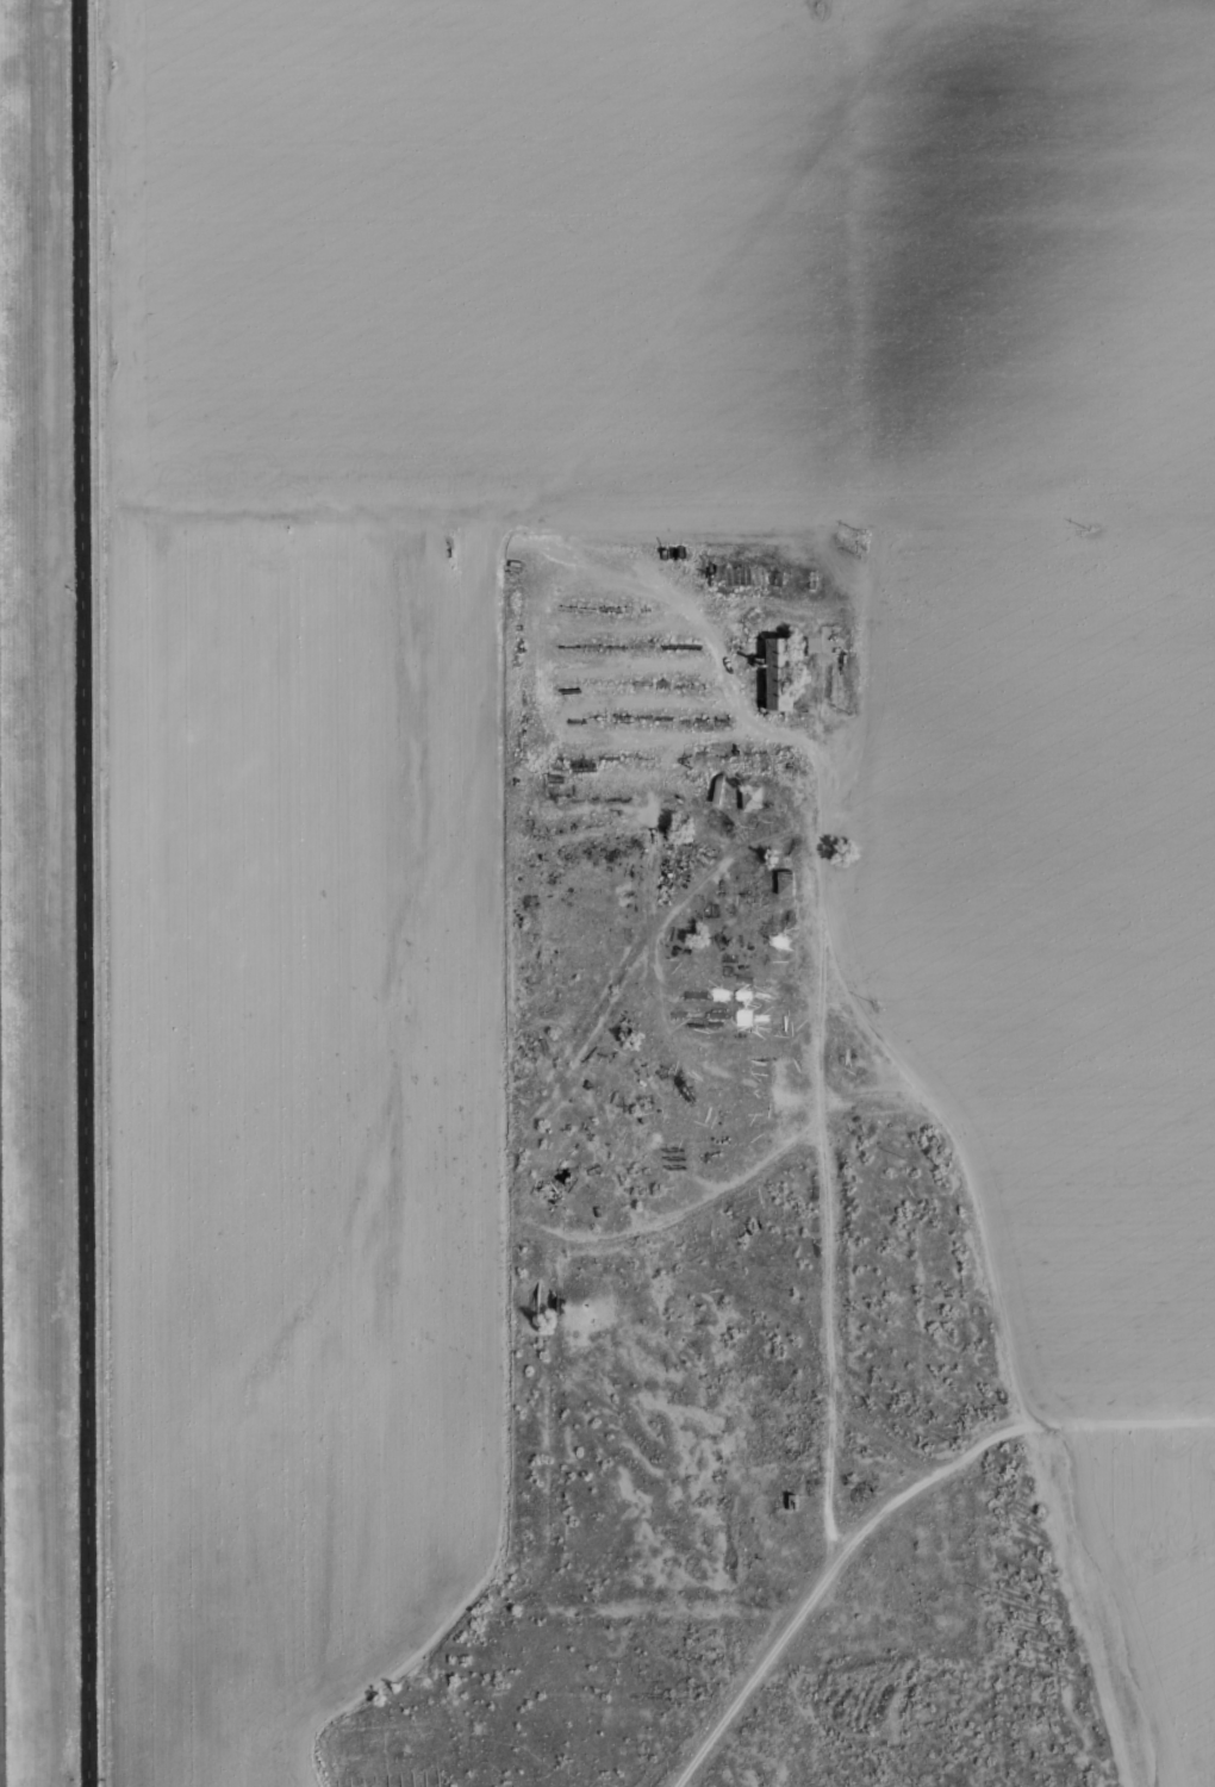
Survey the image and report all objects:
road: (493, 530)
building: (516, 548)
building: (679, 550)
building: (650, 552)
building: (662, 553)
building: (672, 553)
road: (906, 568)
road: (764, 603)
building: (756, 662)
building: (777, 674)
road: (581, 705)
road: (640, 739)
building: (717, 790)
building: (749, 797)
road: (722, 860)
building: (783, 883)
road: (82, 892)
airport: (46, 908)
road: (655, 967)
road: (940, 1116)
road: (822, 1157)
road: (756, 1165)
road: (761, 1664)

